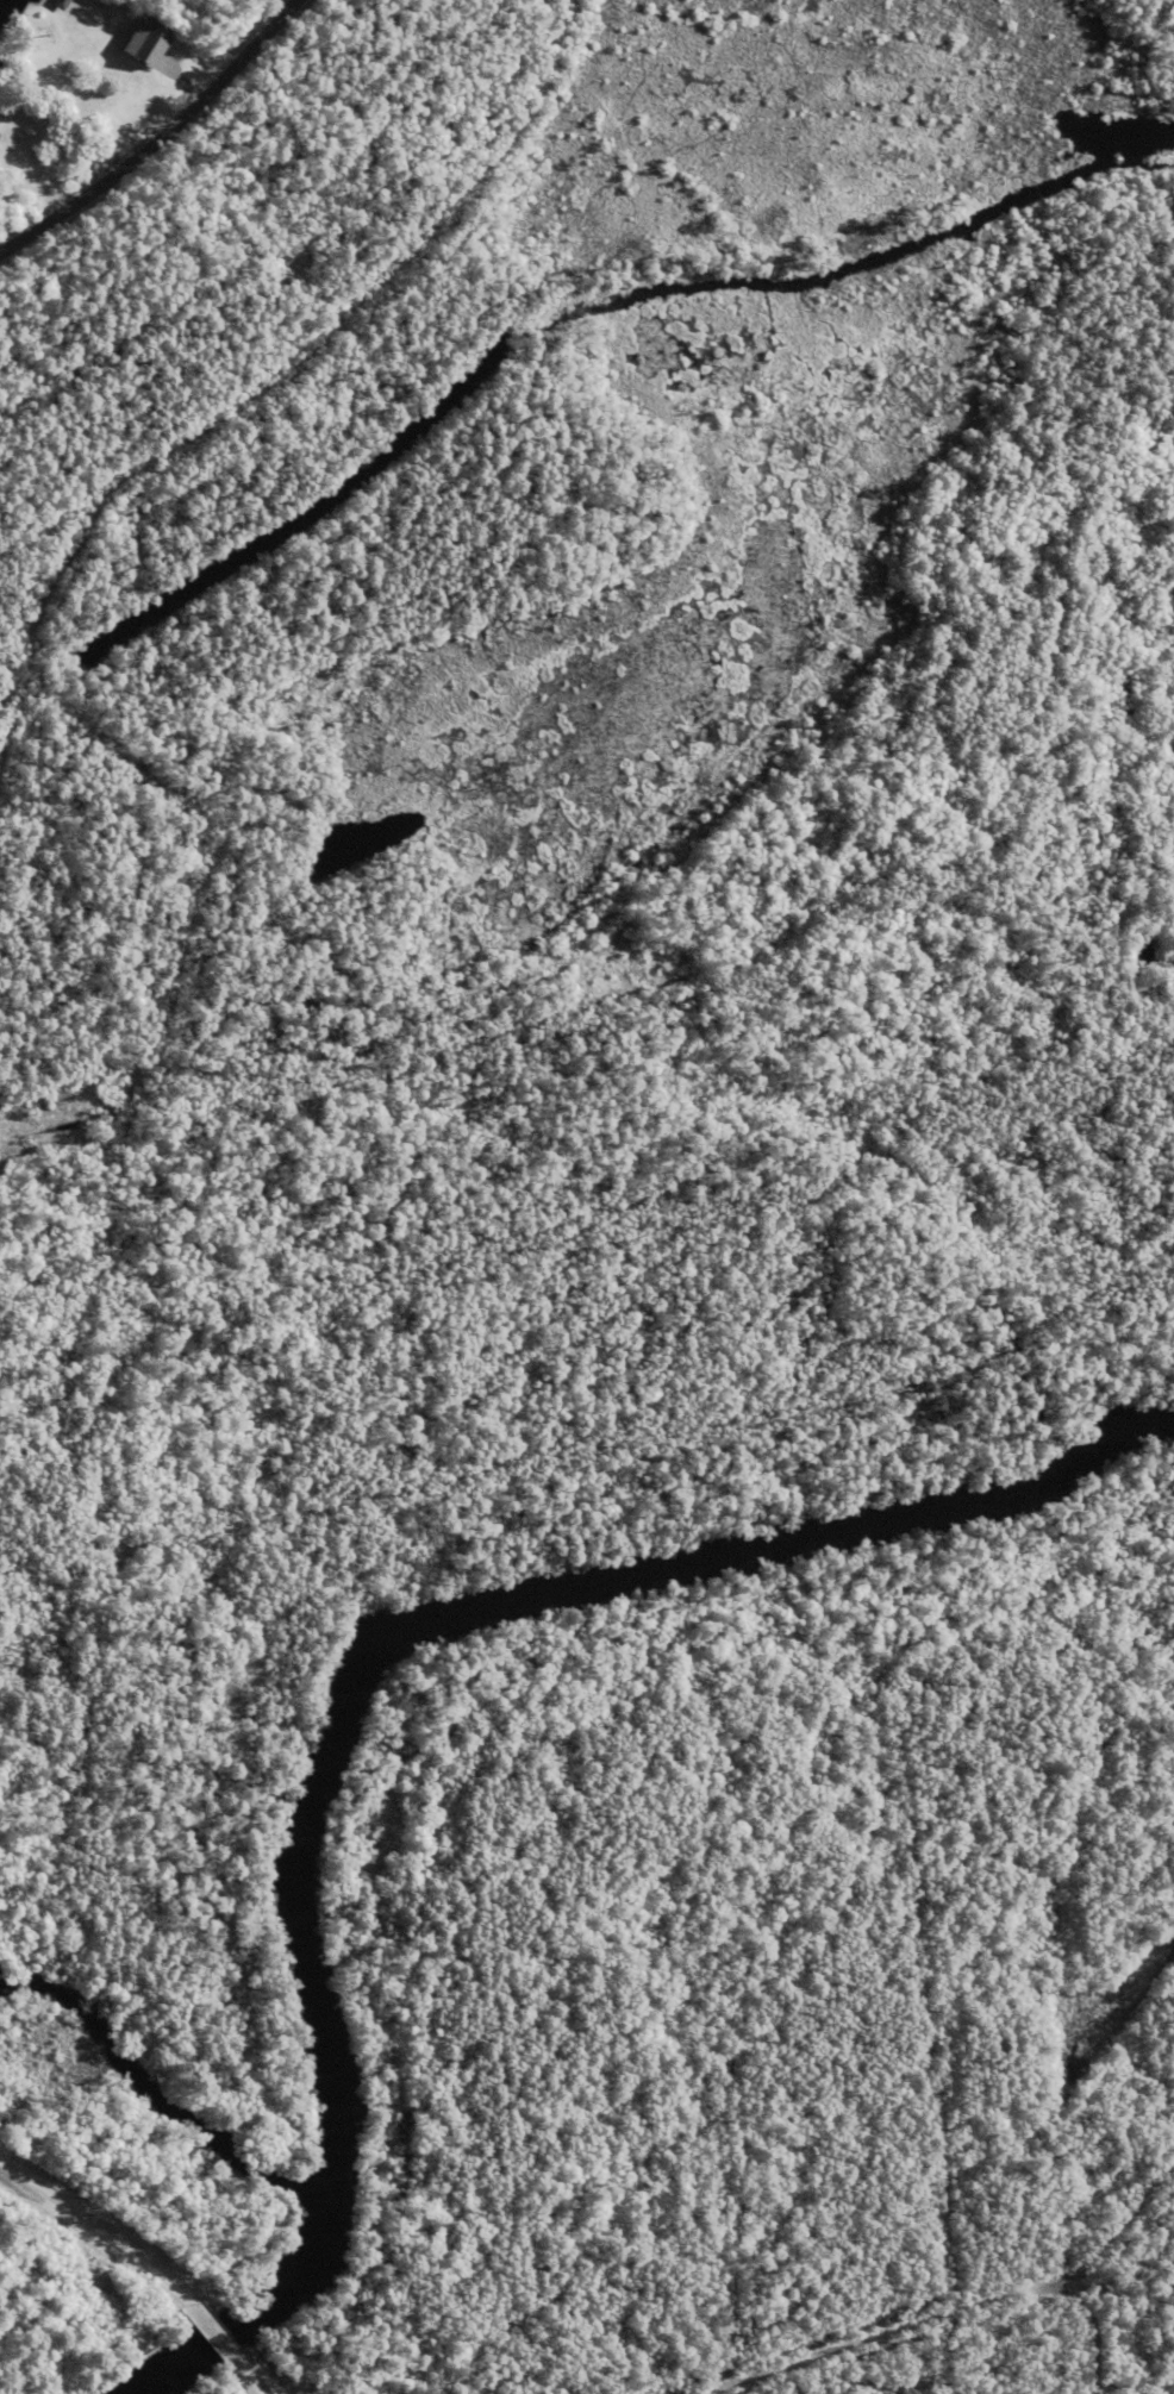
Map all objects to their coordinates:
building: (150, 40)
road: (797, 45)
road: (873, 99)
road: (163, 142)
road: (343, 324)
road: (895, 346)
road: (507, 595)
road: (35, 654)
road: (98, 742)
road: (847, 793)
road: (648, 917)
road: (832, 920)
road: (431, 988)
road: (130, 1176)
road: (651, 1223)
road: (635, 1434)
road: (40, 1543)
road: (1120, 1723)
road: (512, 1757)
road: (928, 1998)
road: (725, 2193)
road: (1130, 2211)
road: (105, 2239)
road: (895, 2330)
road: (1098, 2331)
road: (220, 2334)
road: (249, 2375)
road: (803, 2377)

